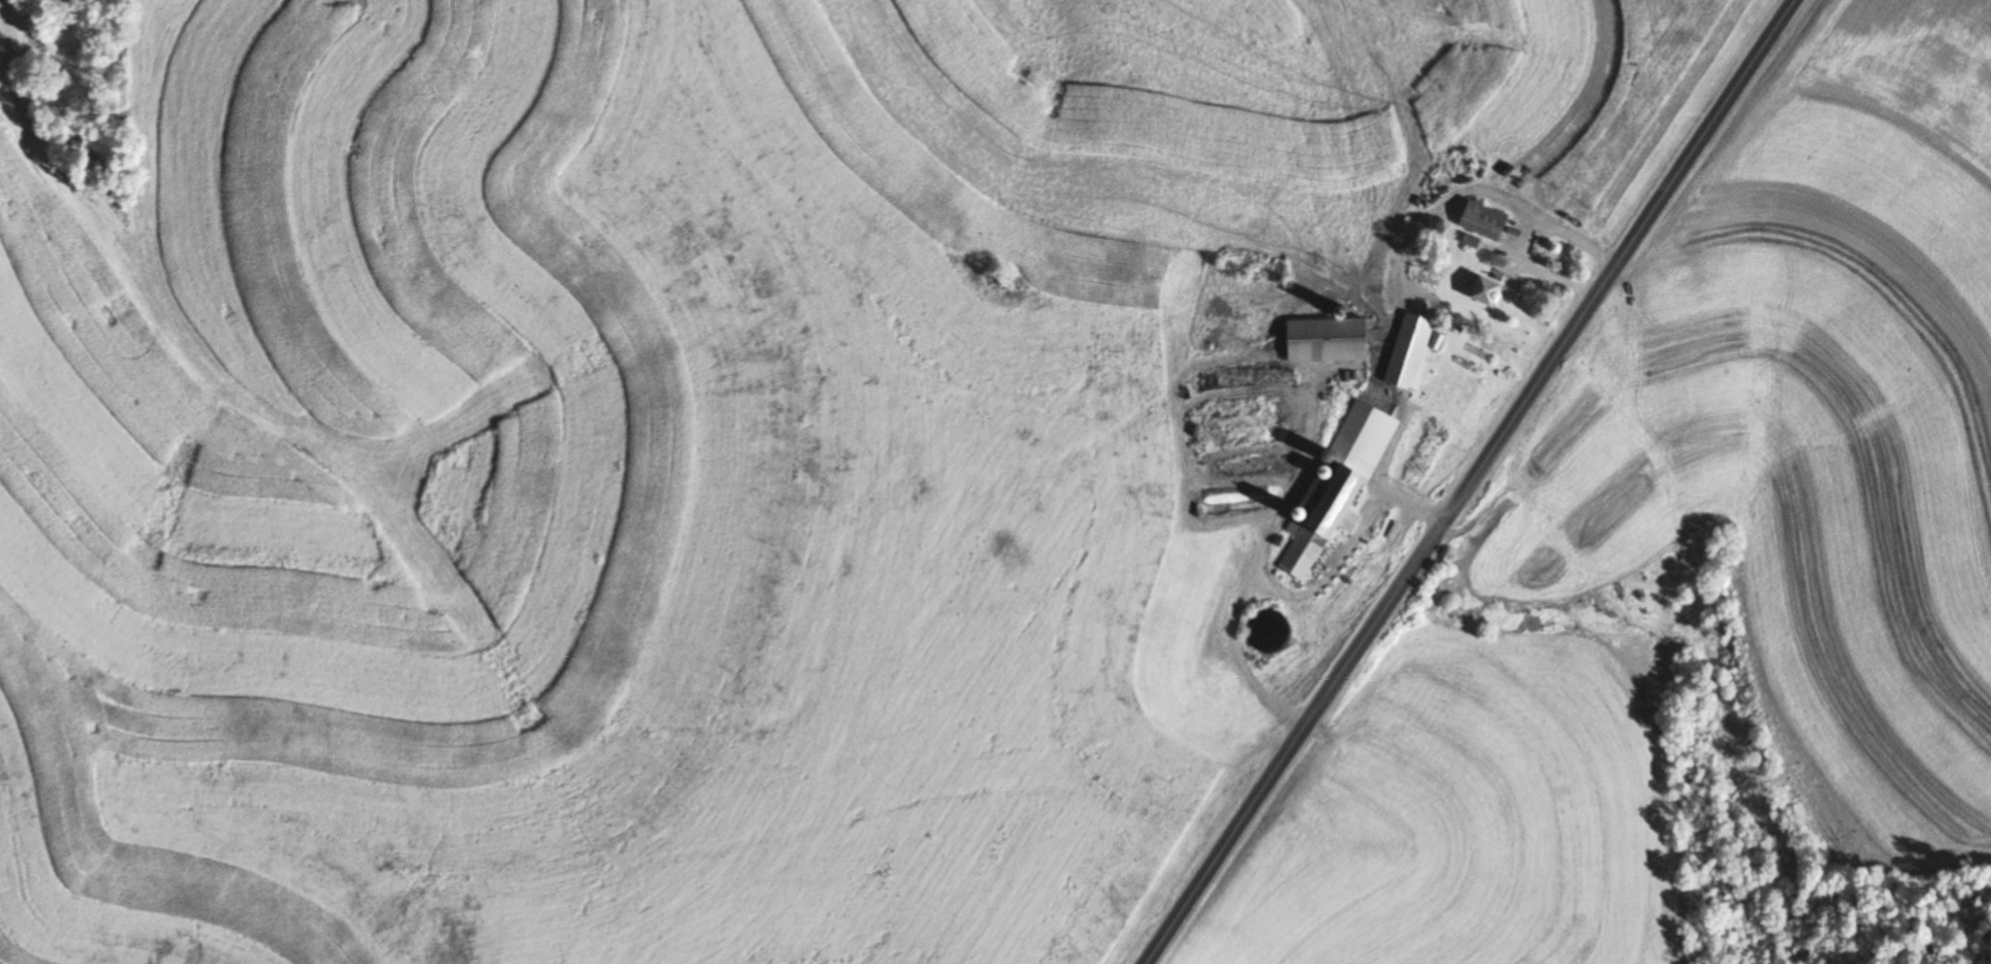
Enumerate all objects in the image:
crop: (1356, 79)
road: (1065, 138)
crop: (702, 167)
building: (1480, 220)
building: (1251, 263)
building: (1481, 292)
building: (1320, 341)
building: (1403, 352)
road: (891, 373)
crop: (1812, 424)
road: (1464, 482)
building: (1332, 490)
crop: (37, 545)
crop: (587, 635)
crop: (1473, 822)

